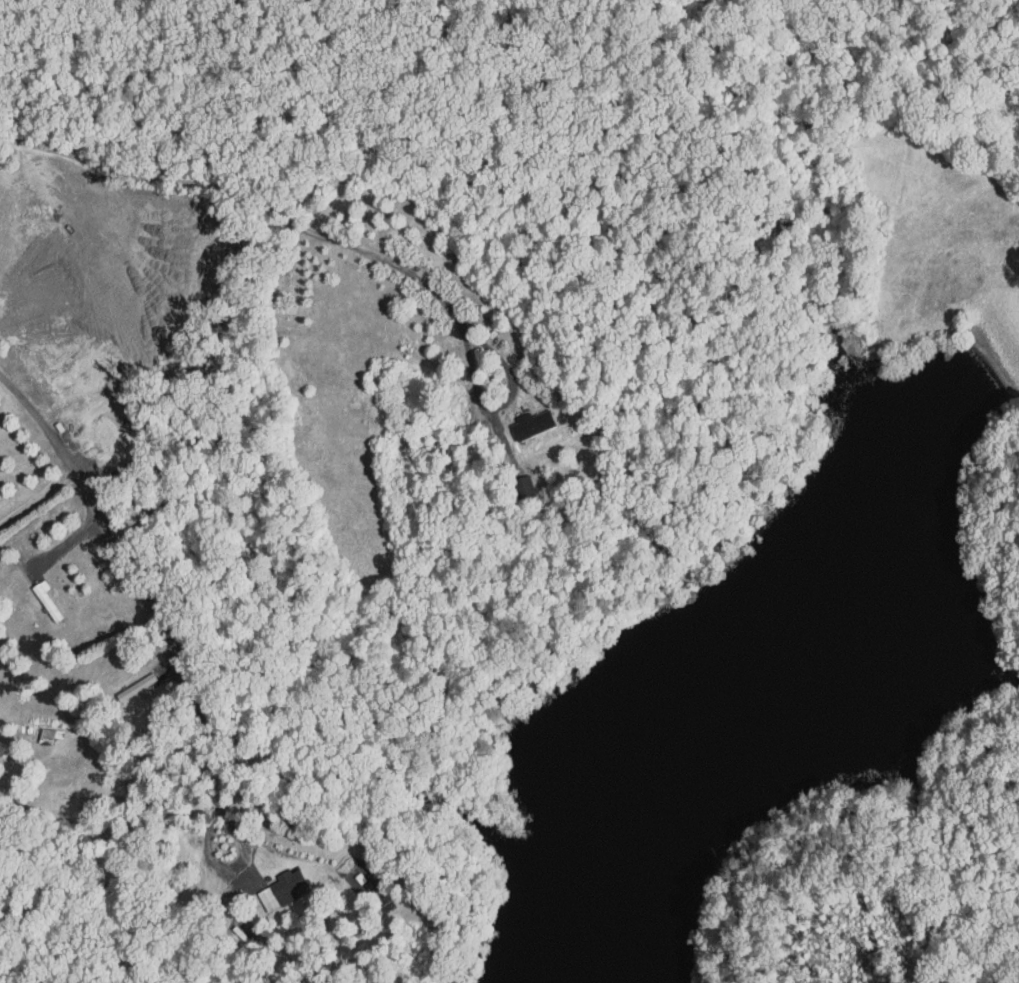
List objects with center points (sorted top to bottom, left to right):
road: (249, 197)
road: (503, 404)
building: (519, 419)
building: (513, 483)
road: (77, 552)
road: (132, 576)
building: (125, 682)
building: (37, 728)
building: (271, 883)

